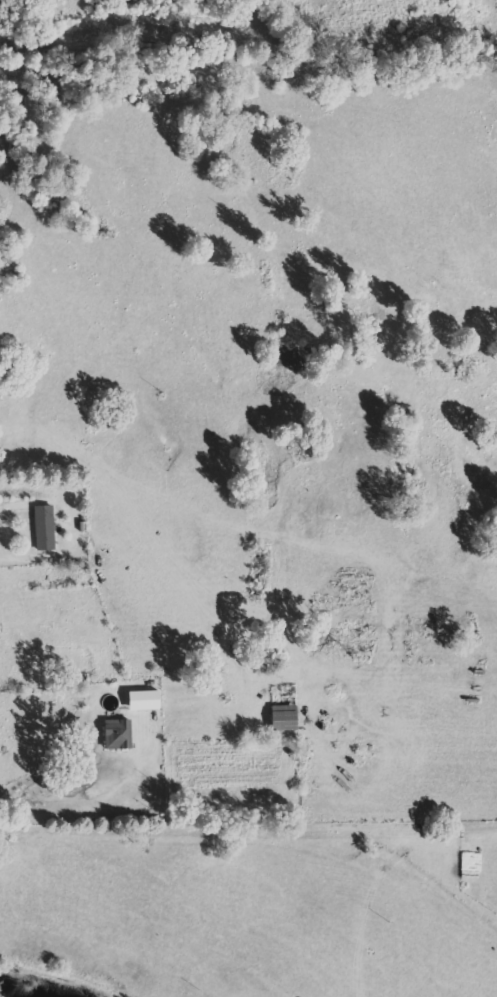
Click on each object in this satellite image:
building: (40, 528)
building: (136, 700)
building: (114, 735)
road: (248, 786)

